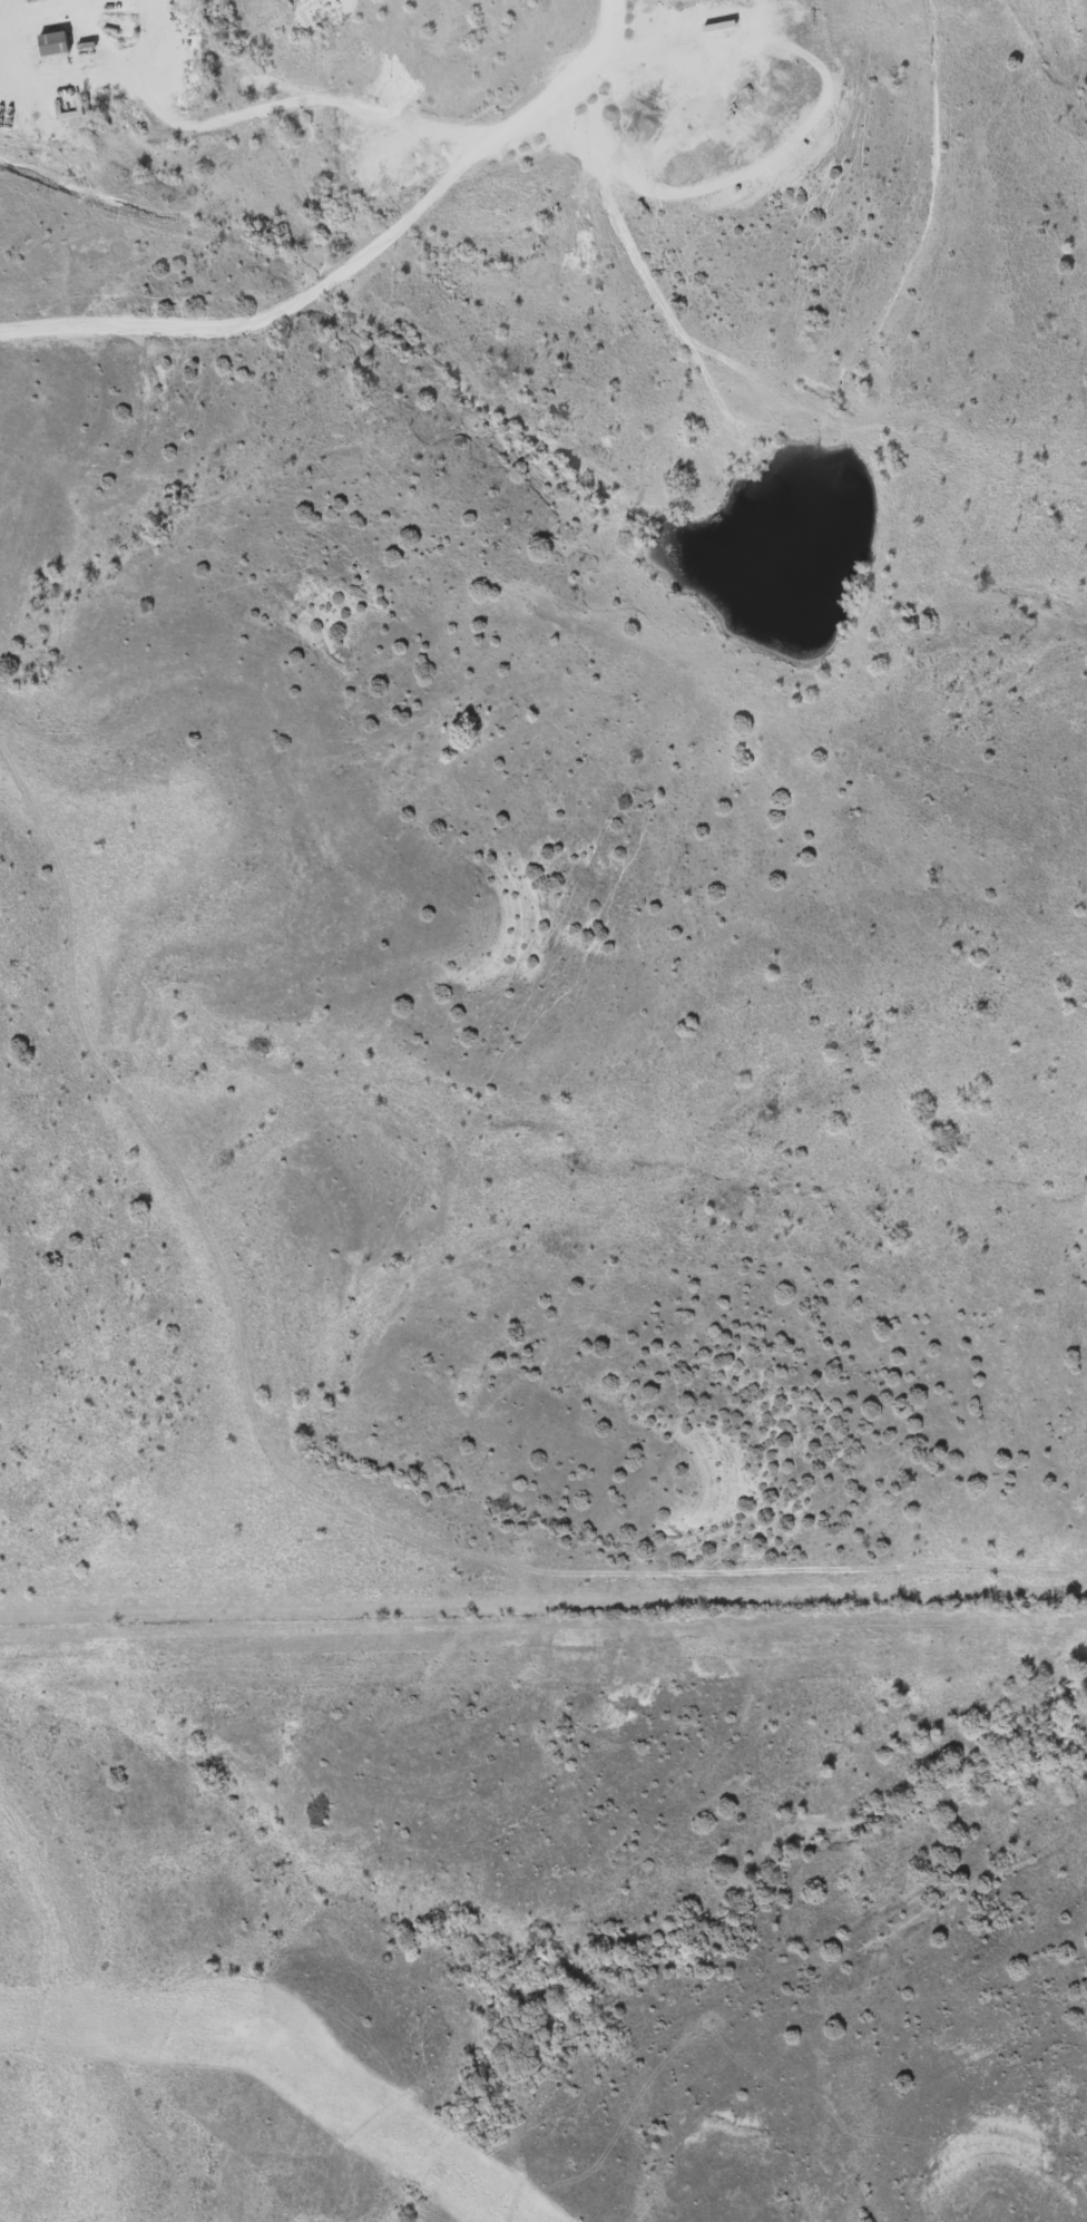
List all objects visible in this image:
road: (20, 7)
road: (151, 27)
building: (50, 42)
road: (77, 74)
road: (300, 95)
building: (67, 113)
road: (353, 254)

